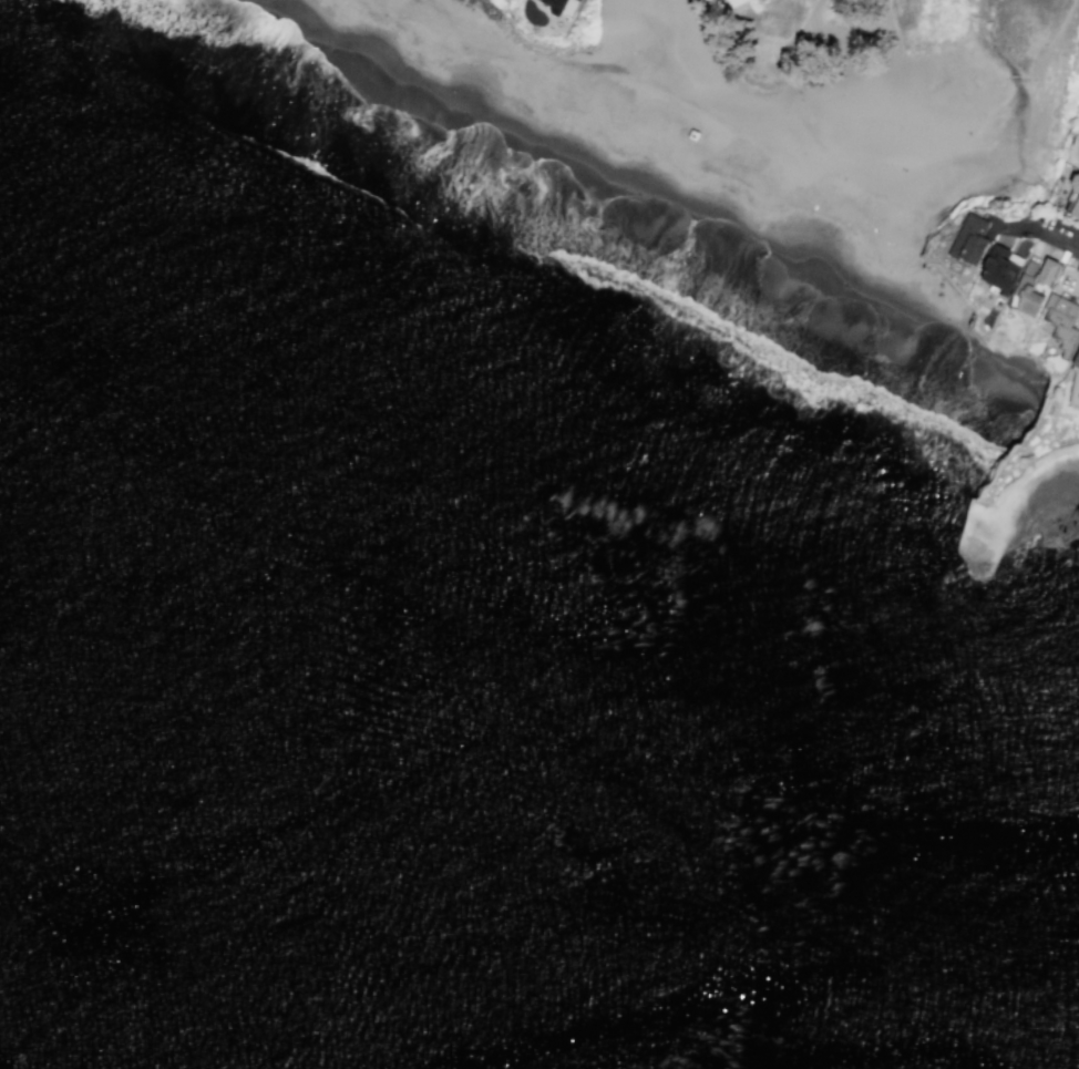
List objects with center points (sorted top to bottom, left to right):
building: (561, 6)
road: (886, 24)
road: (799, 32)
building: (761, 126)
building: (1075, 197)
road: (1066, 238)
building: (969, 239)
building: (999, 269)
building: (1047, 271)
building: (1061, 323)
building: (1078, 358)
park: (1024, 500)

